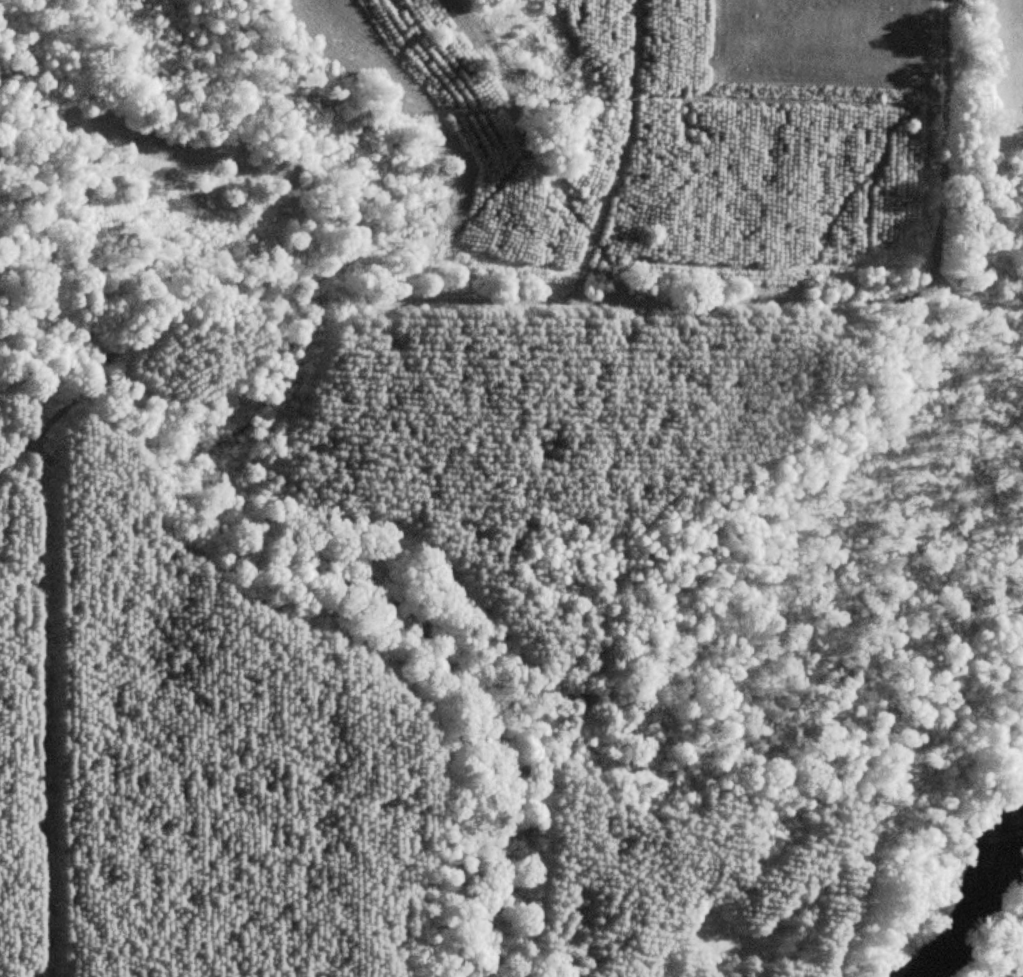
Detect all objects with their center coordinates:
river: (975, 894)

